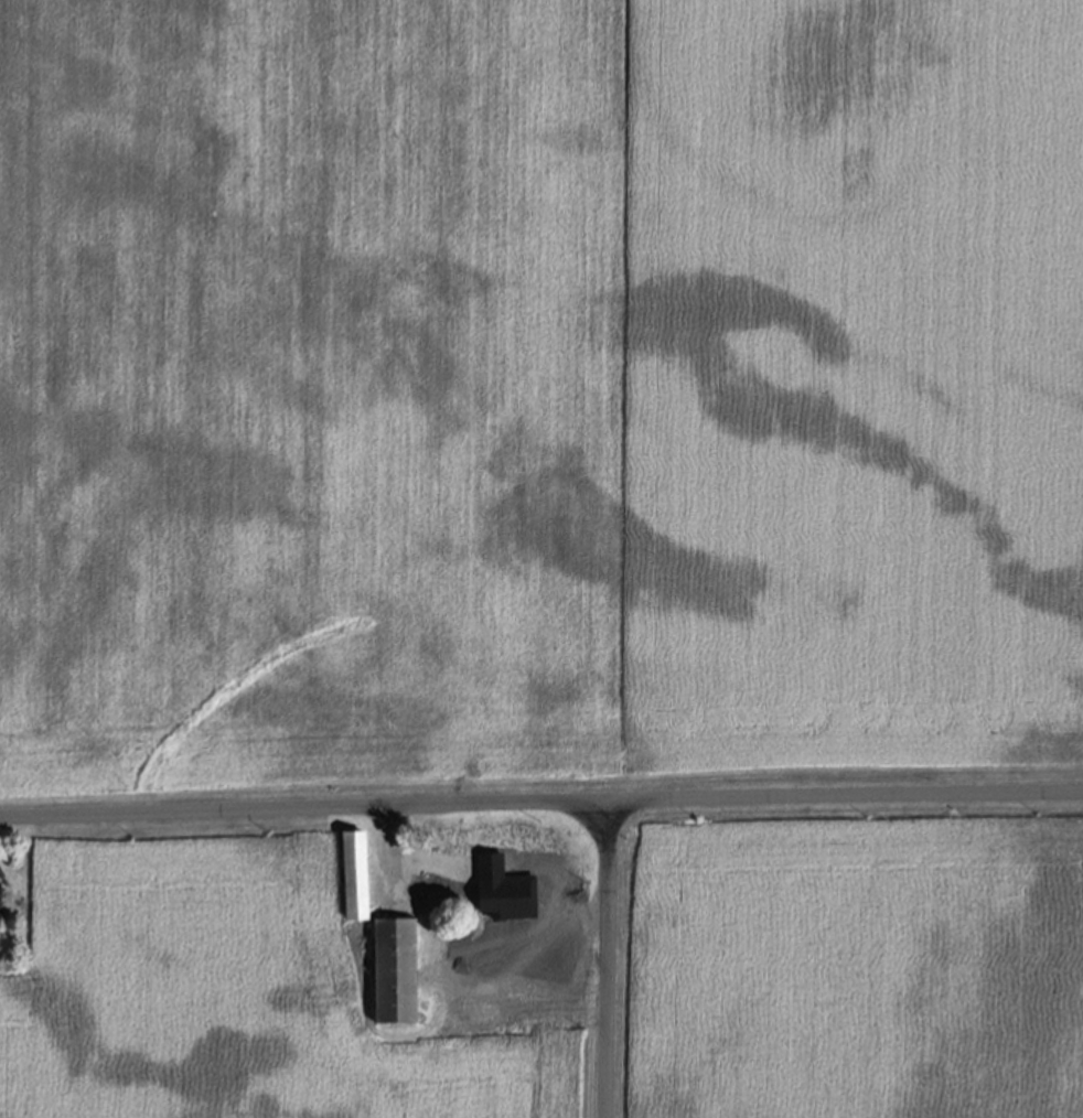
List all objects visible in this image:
road: (540, 802)
building: (444, 849)
road: (395, 853)
building: (355, 875)
building: (0, 896)
road: (609, 959)
building: (396, 969)

